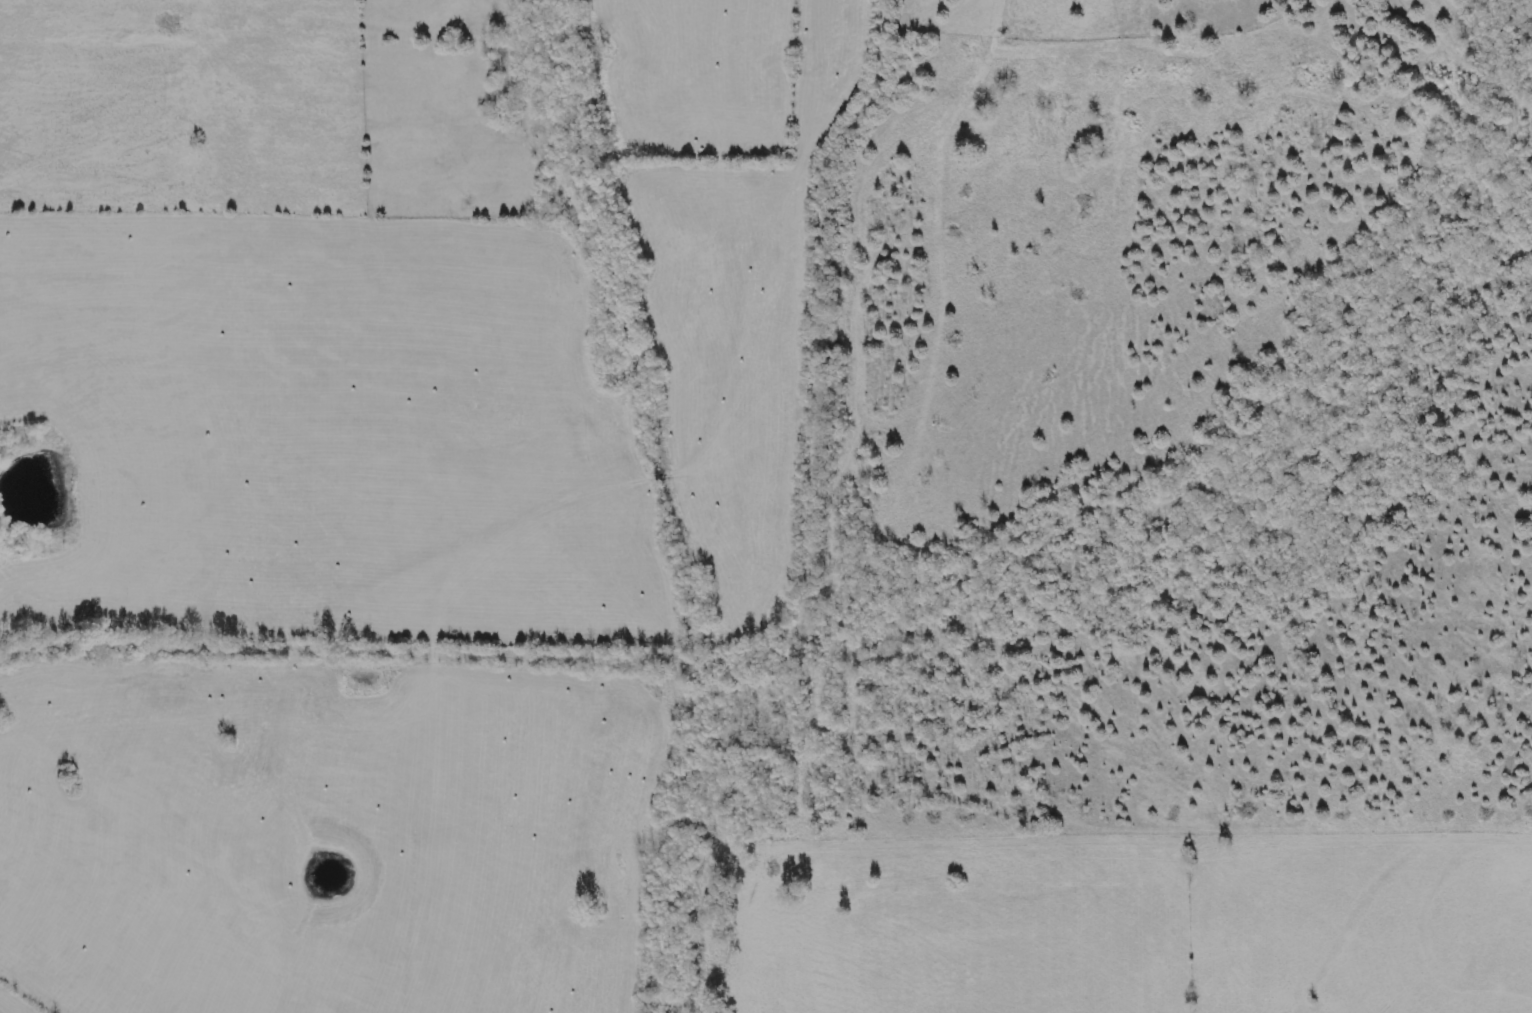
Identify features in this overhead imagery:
railway: (10, 1005)

